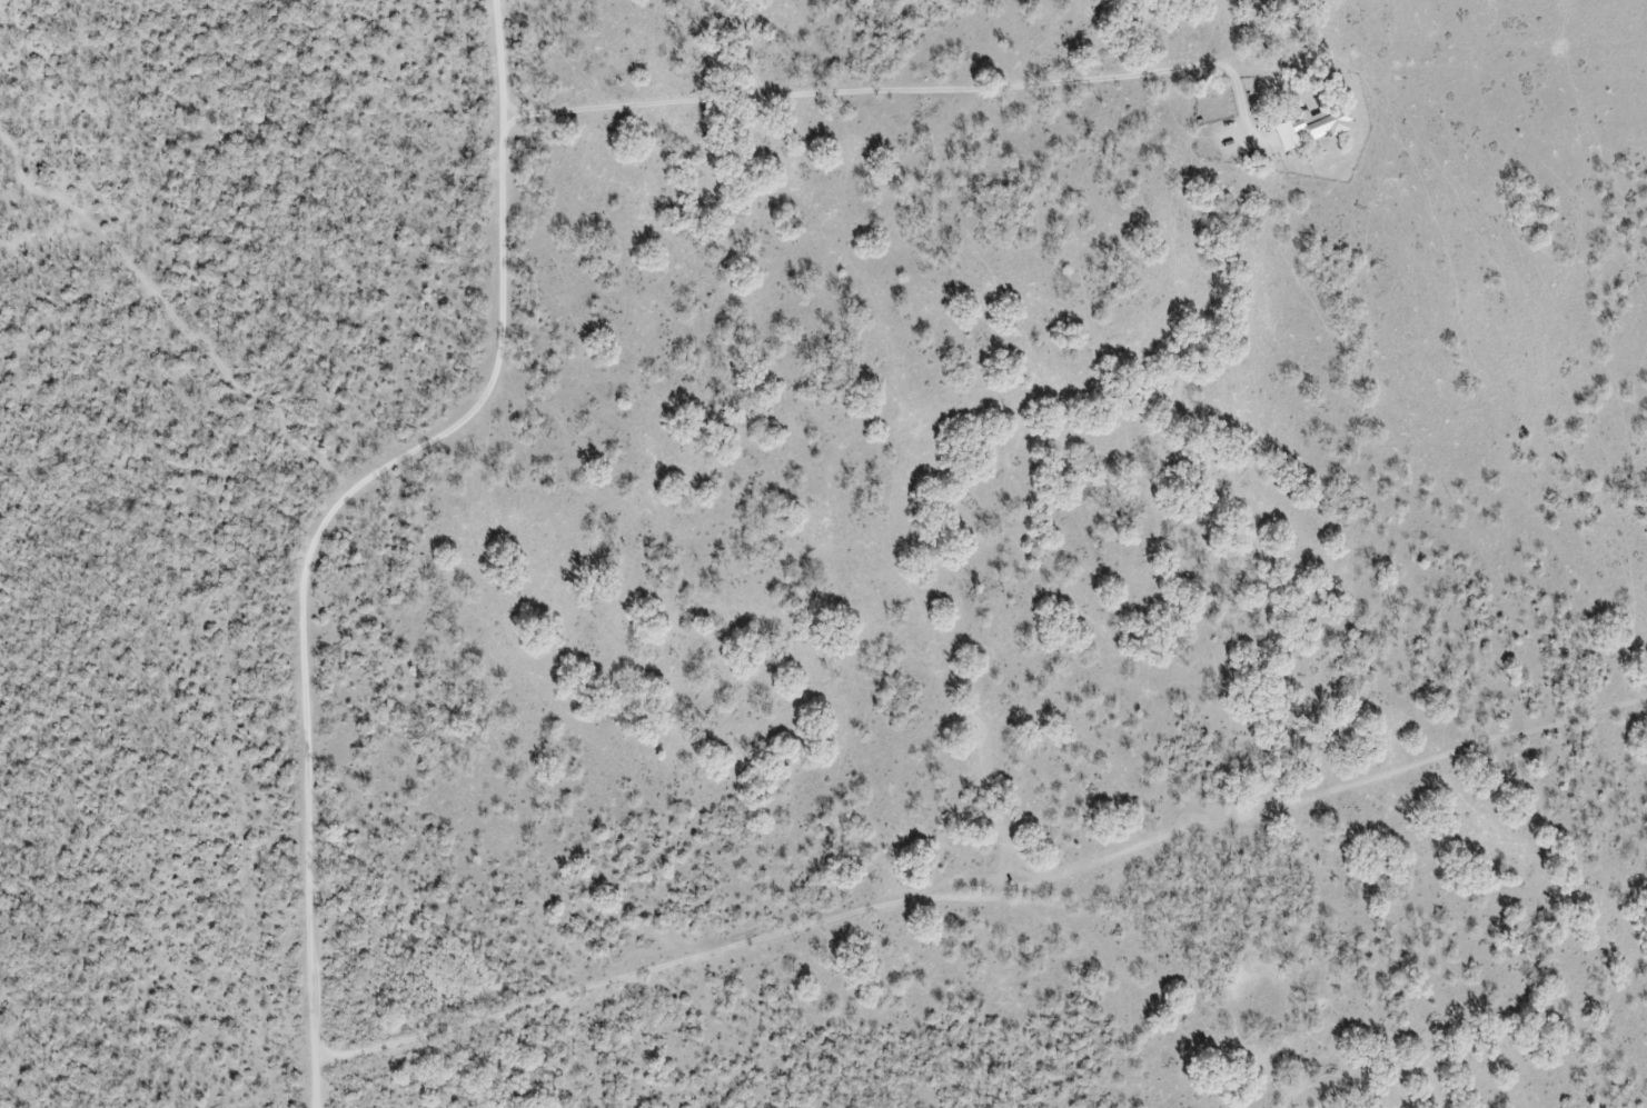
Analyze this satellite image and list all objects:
road: (917, 92)
building: (1322, 126)
road: (328, 515)
road: (780, 891)

